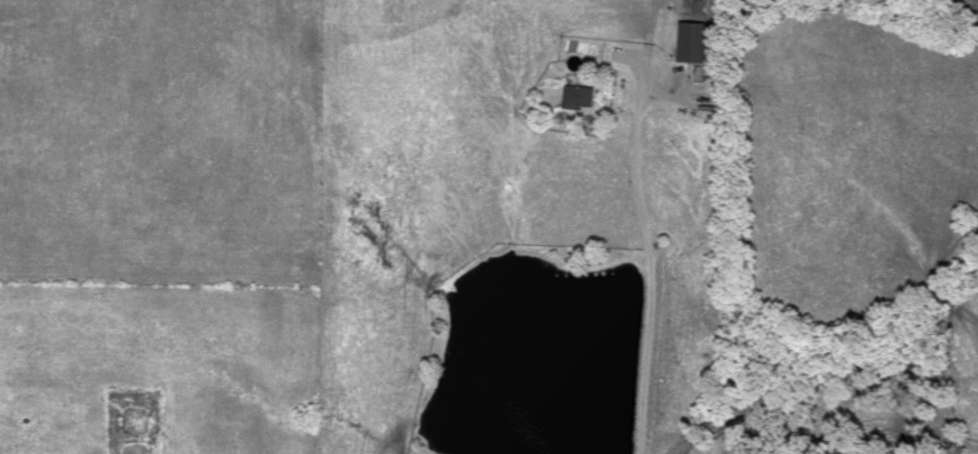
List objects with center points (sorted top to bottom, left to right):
building: (690, 43)
building: (577, 98)
road: (648, 255)

